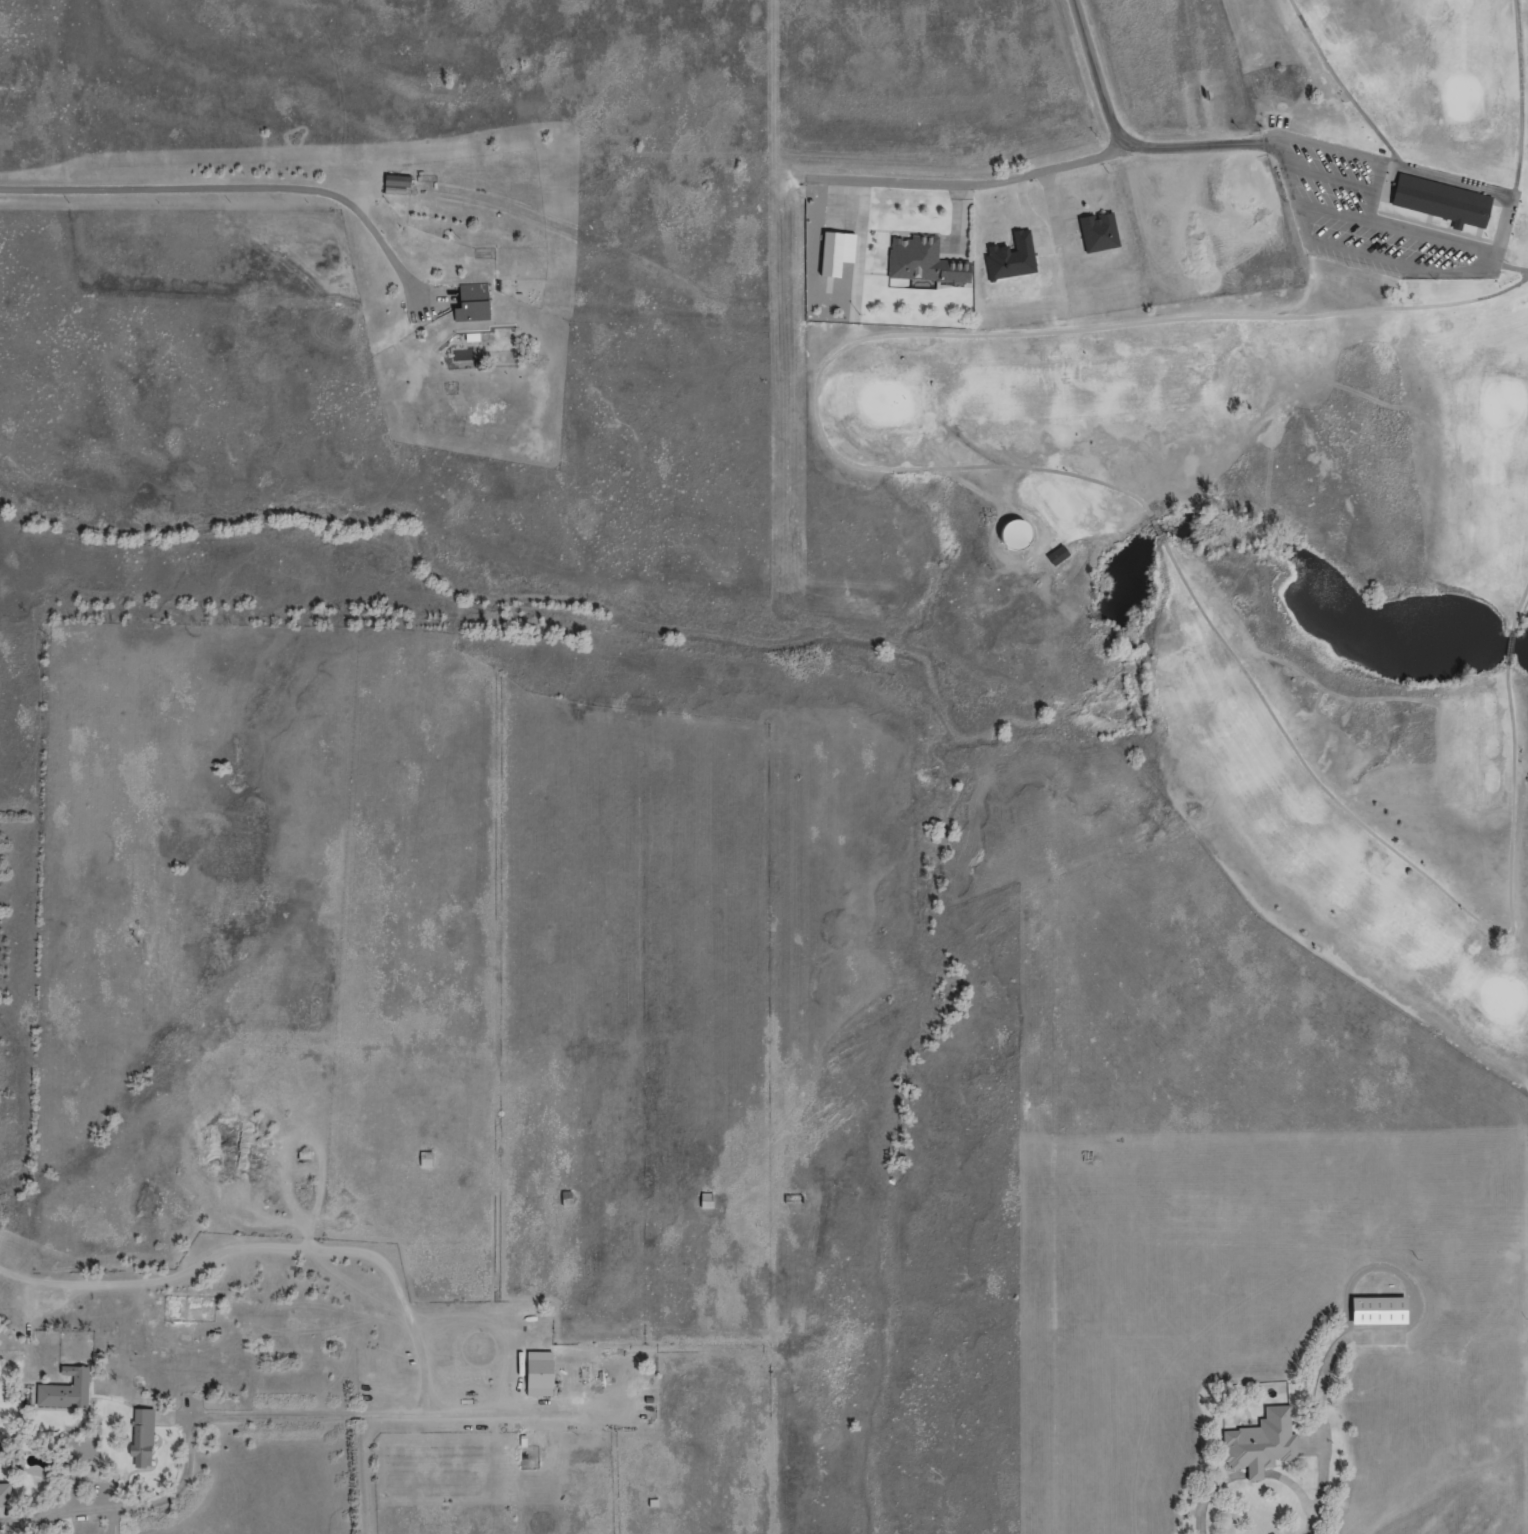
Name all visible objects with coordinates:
road: (1097, 75)
road: (1342, 86)
road: (1521, 98)
road: (1041, 171)
road: (1329, 179)
road: (226, 187)
road: (1375, 191)
building: (1440, 201)
road: (1395, 229)
building: (1098, 232)
building: (833, 253)
building: (1011, 258)
road: (1495, 259)
building: (921, 262)
road: (1510, 268)
building: (470, 304)
road: (959, 335)
building: (471, 338)
building: (463, 355)
park: (1252, 497)
road: (1160, 532)
building: (1011, 536)
building: (1056, 555)
road: (1519, 608)
road: (1509, 649)
road: (1405, 861)
building: (304, 1155)
building: (426, 1159)
building: (567, 1199)
building: (793, 1199)
building: (706, 1201)
road: (1406, 1280)
building: (1376, 1311)
building: (550, 1374)
building: (63, 1390)
road: (1324, 1430)
building: (138, 1437)
building: (1259, 1443)
road: (1247, 1475)

